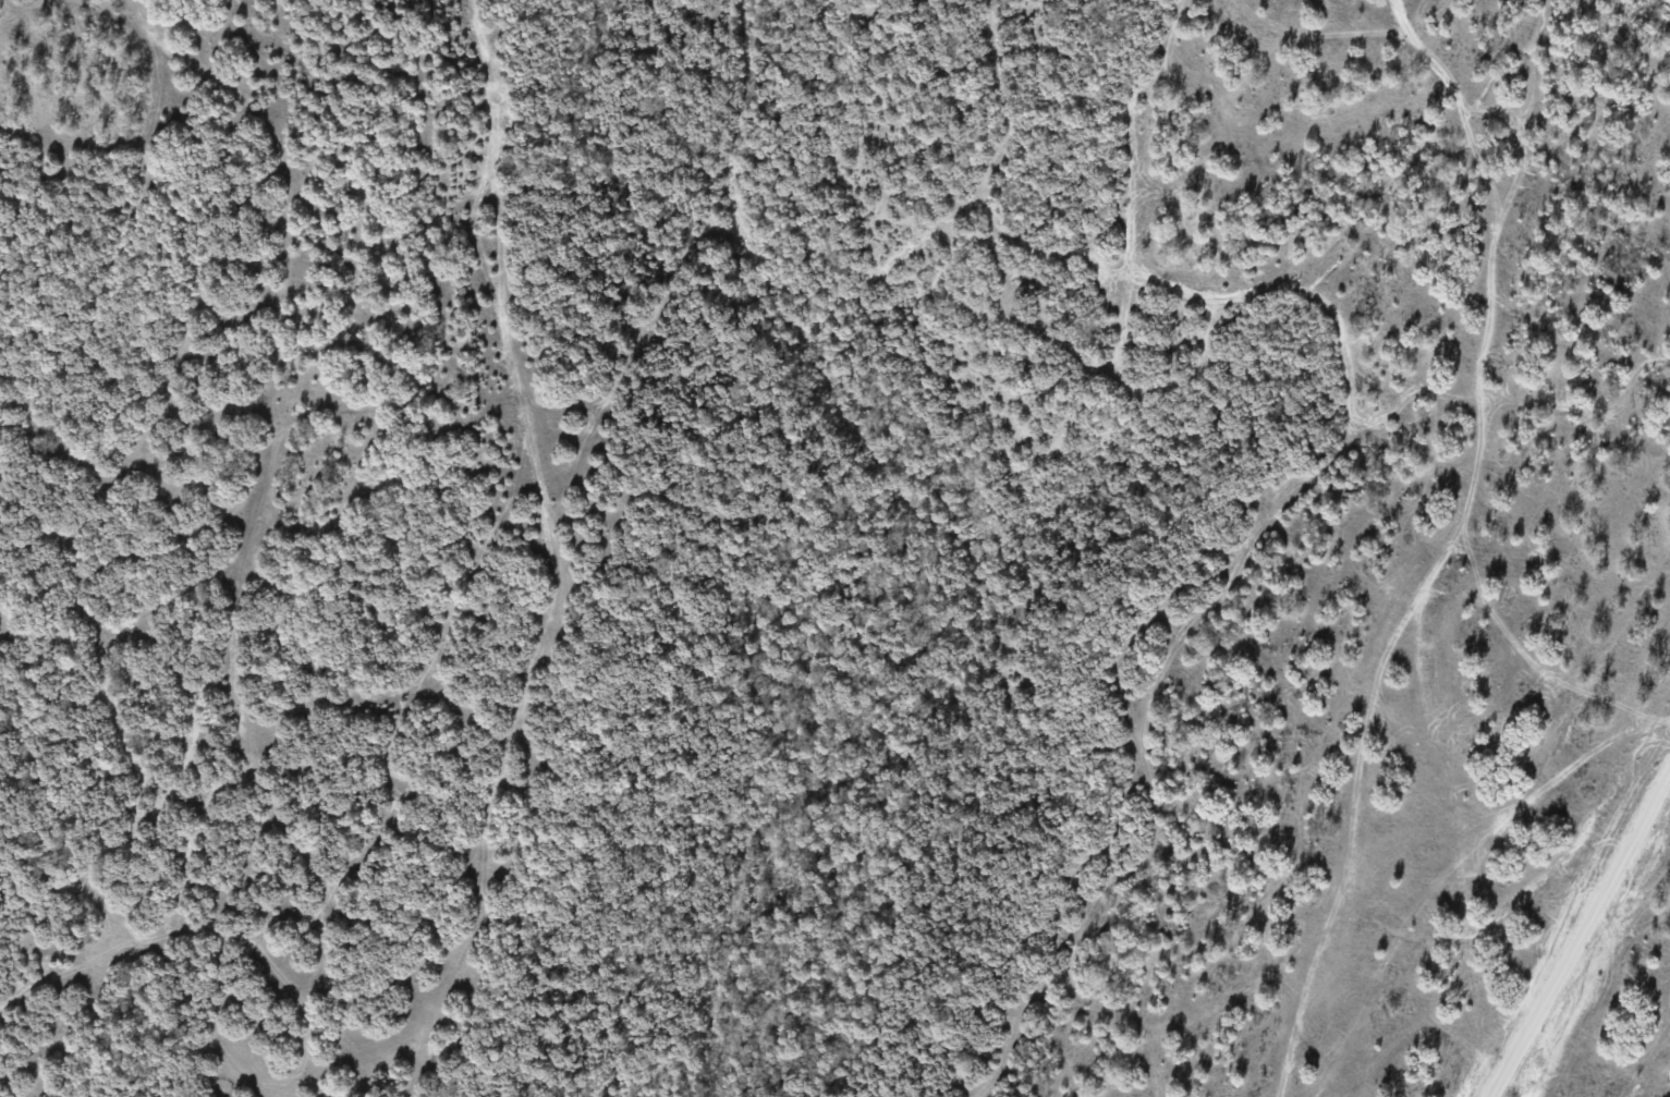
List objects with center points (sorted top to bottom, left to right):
road: (1580, 937)

